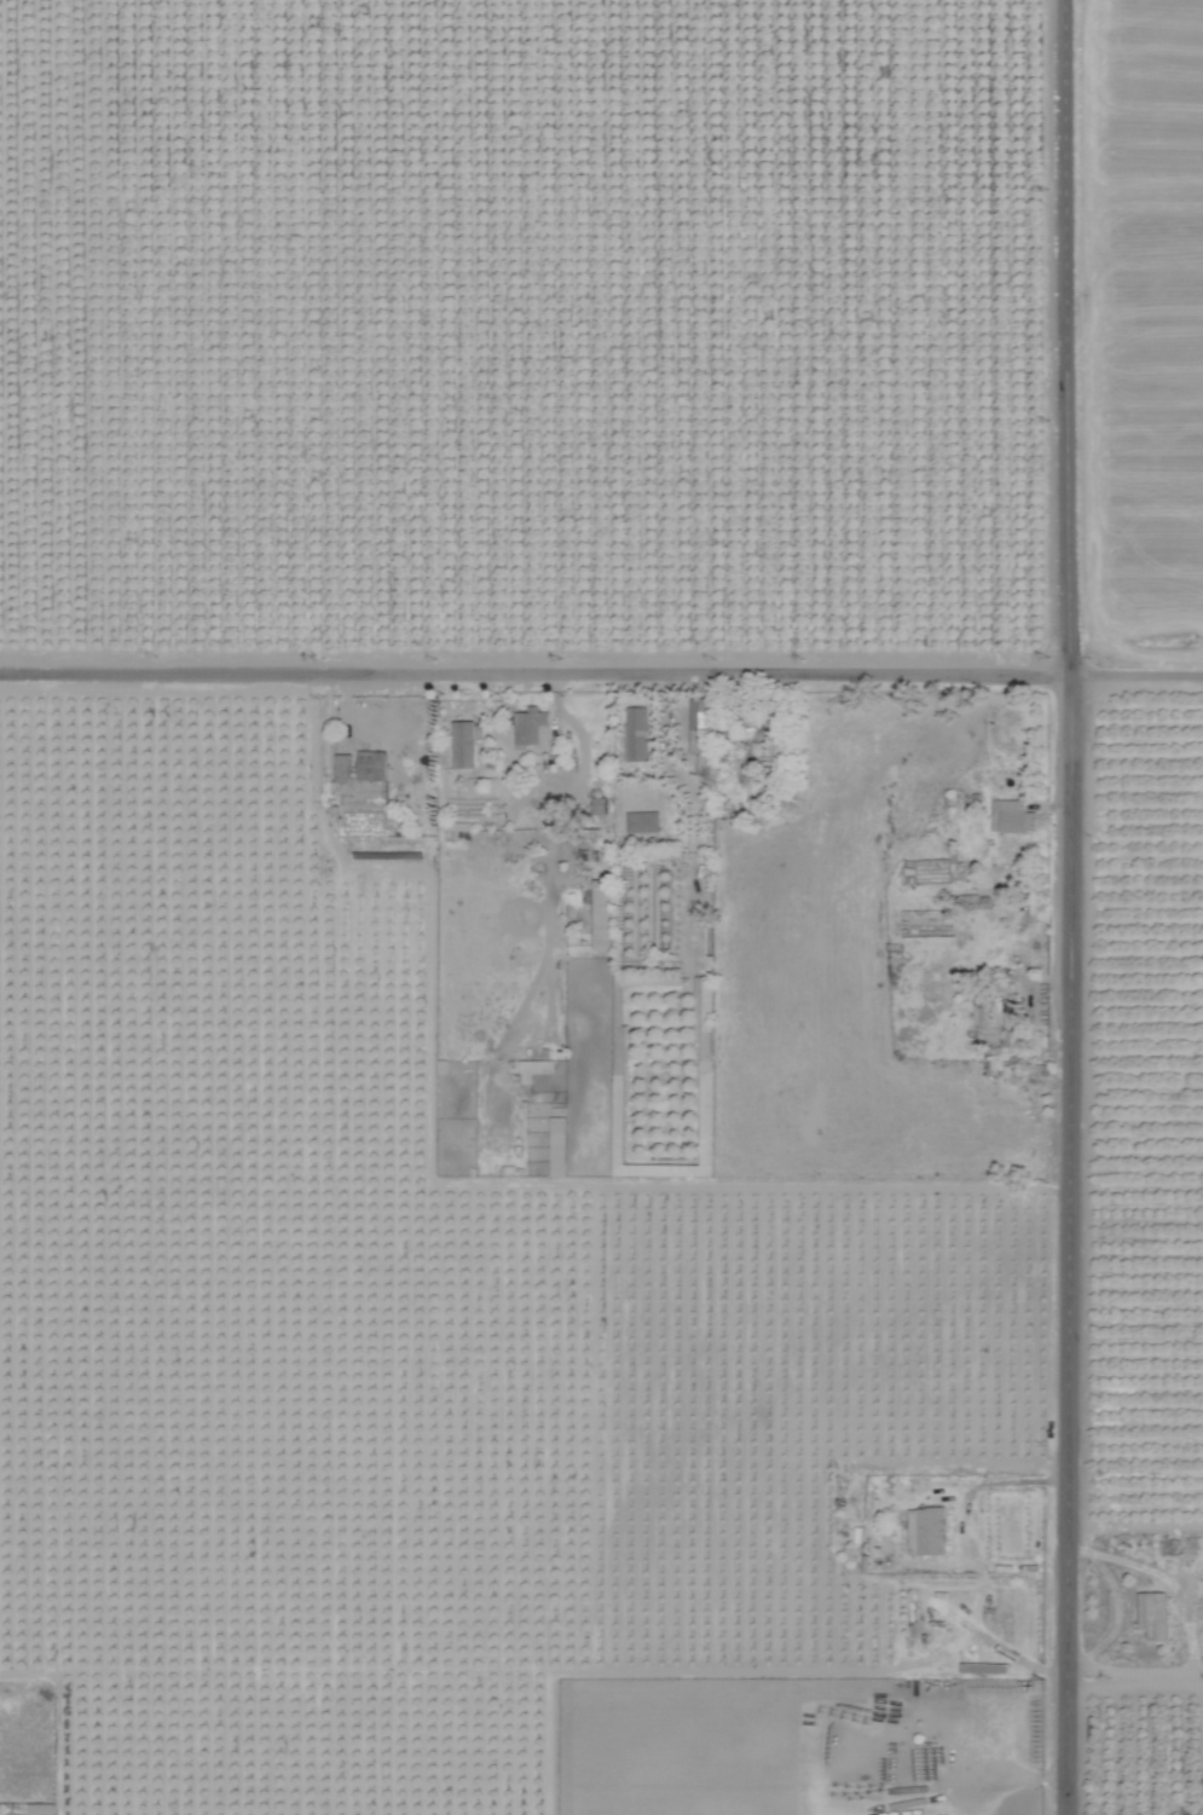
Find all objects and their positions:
crop: (600, 313)
road: (1083, 329)
road: (601, 659)
building: (532, 723)
building: (637, 730)
building: (464, 740)
building: (371, 762)
building: (343, 764)
building: (1012, 814)
building: (642, 819)
building: (941, 867)
building: (602, 900)
building: (702, 994)
building: (982, 1011)
building: (557, 1143)
road: (1085, 1236)
building: (927, 1528)
building: (1153, 1613)
road: (1141, 1676)

